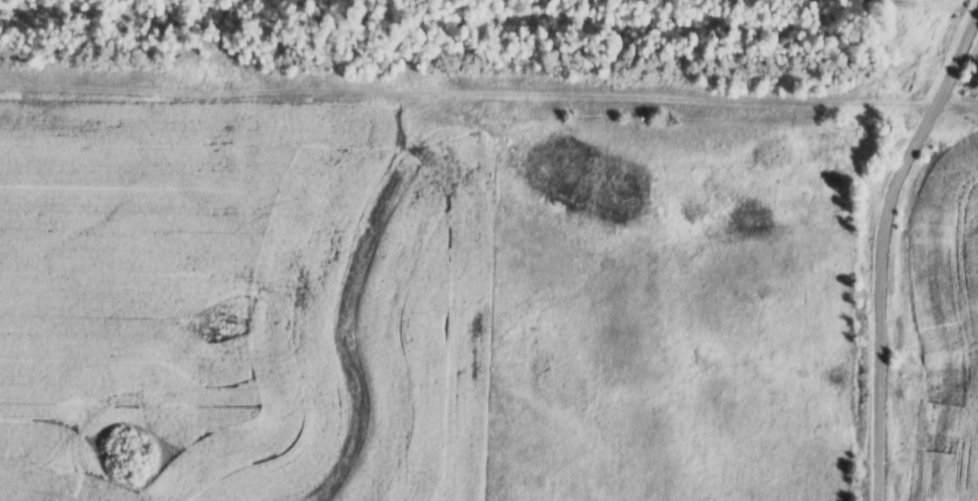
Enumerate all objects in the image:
road: (884, 247)

